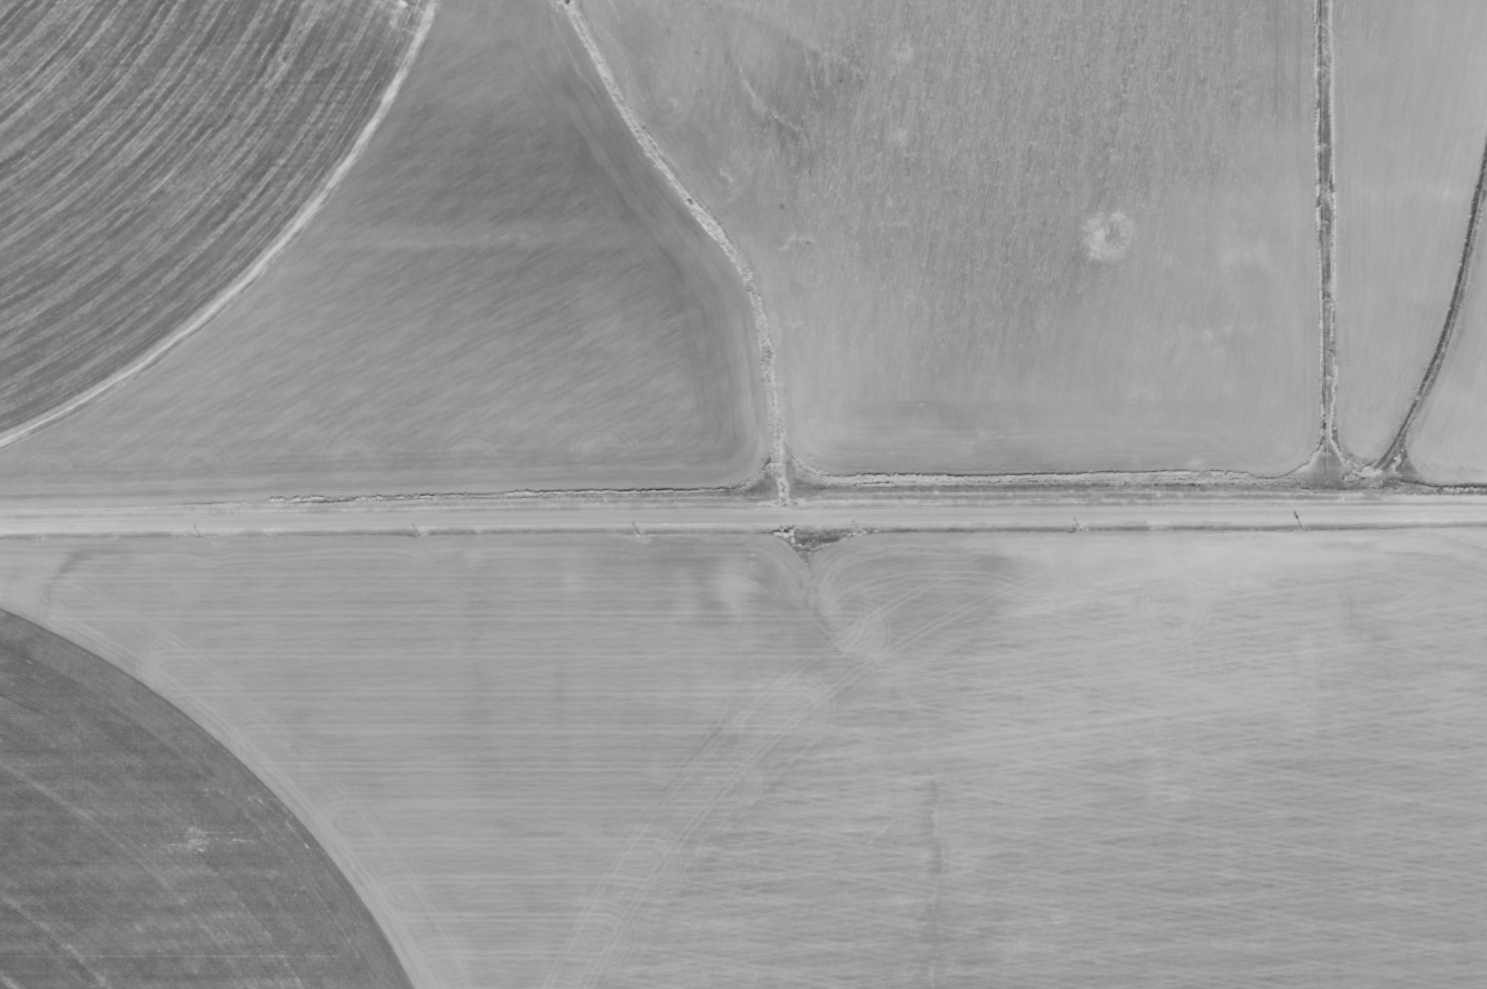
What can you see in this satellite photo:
road: (743, 514)

